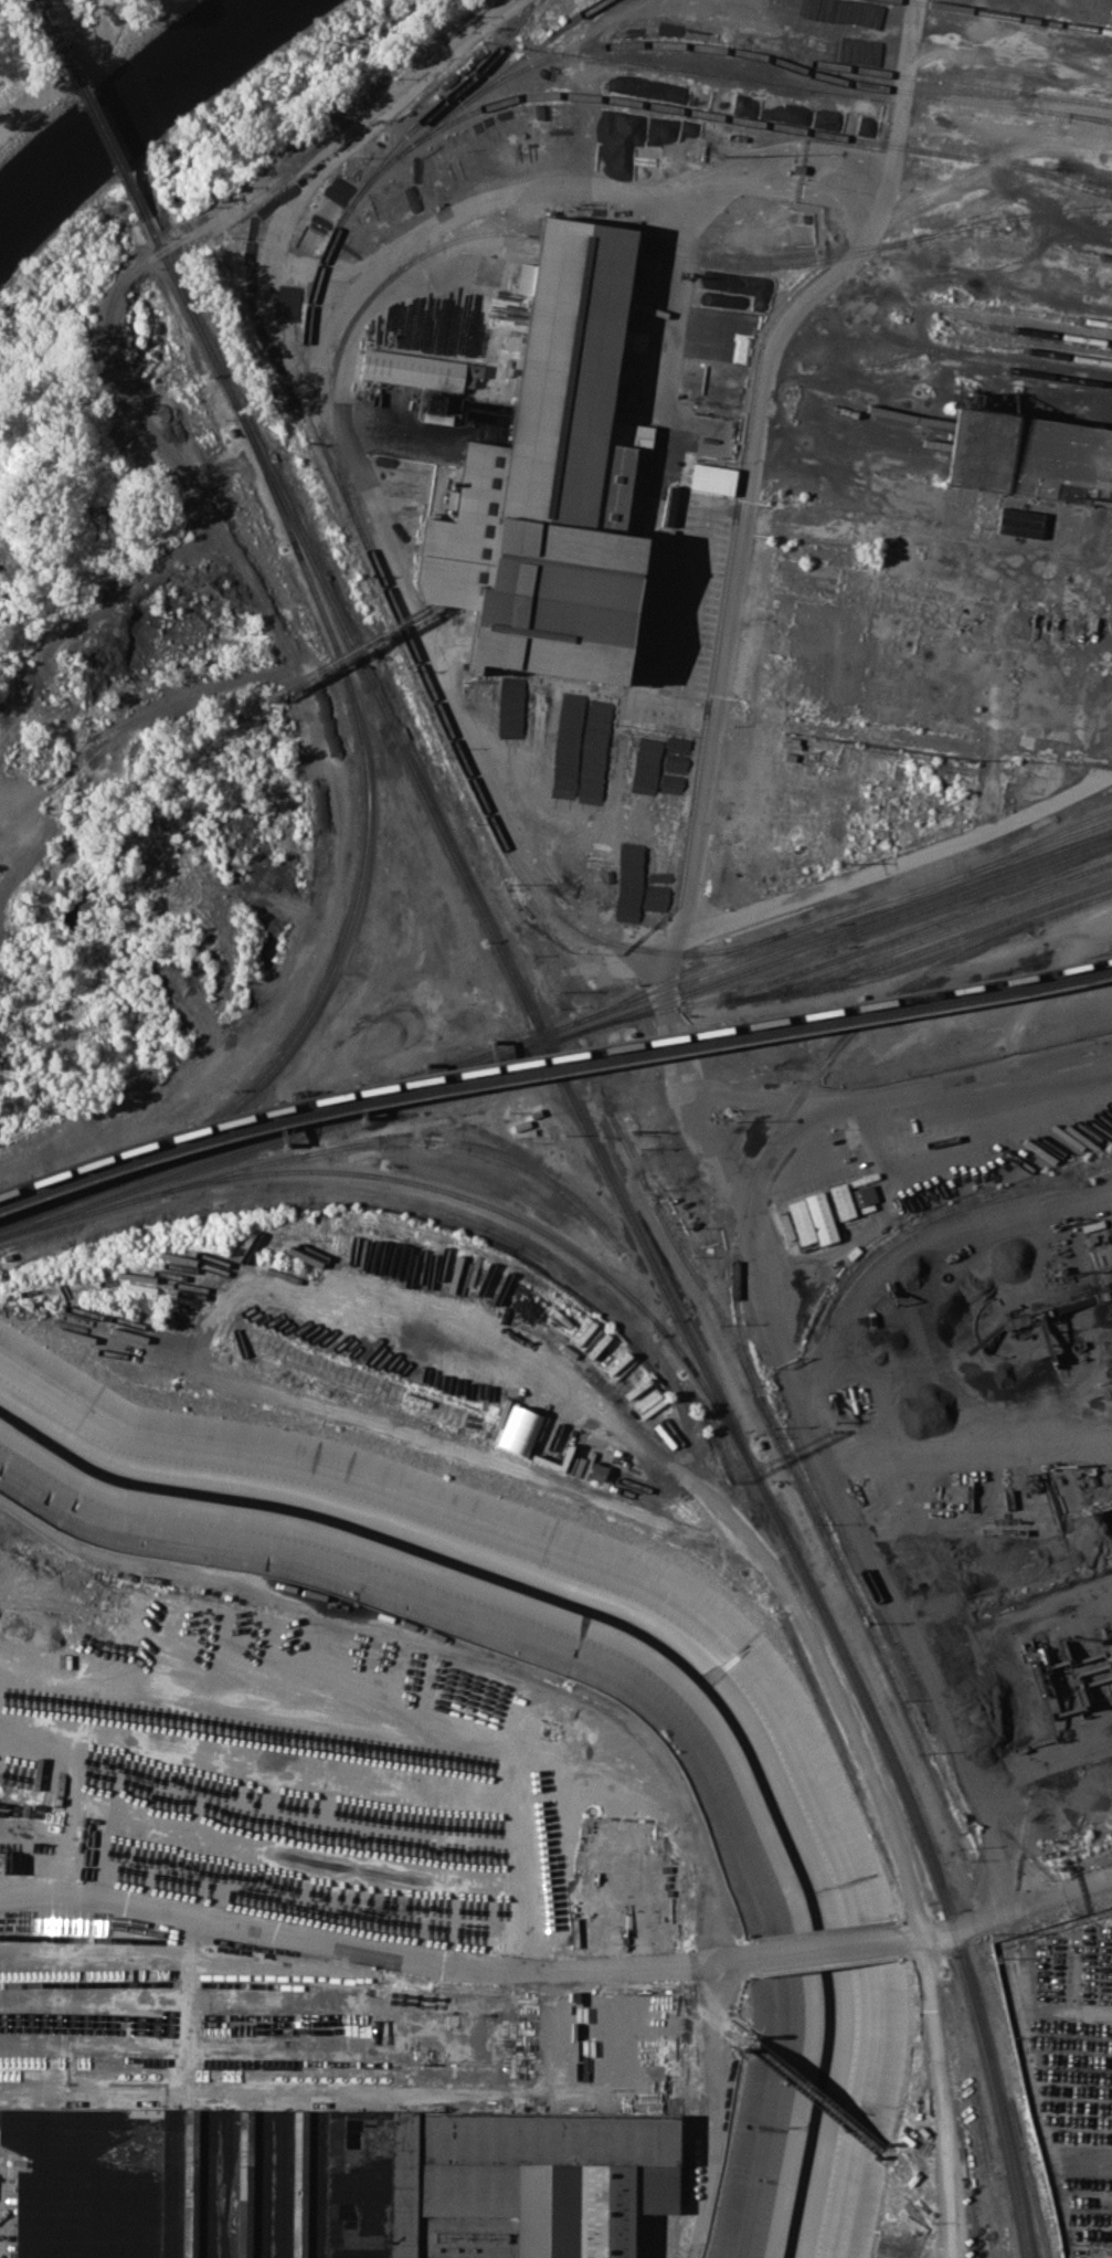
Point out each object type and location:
railway: (1010, 14)
railway: (50, 23)
railway: (534, 48)
railway: (723, 49)
road: (81, 67)
railway: (928, 93)
road: (395, 98)
river: (138, 110)
railway: (754, 122)
railway: (103, 133)
railway: (1063, 181)
road: (594, 187)
railway: (1015, 239)
railway: (873, 246)
railway: (758, 264)
road: (322, 267)
railway: (357, 314)
railway: (1048, 314)
railway: (1021, 319)
railway: (1026, 329)
railway: (1027, 339)
railway: (1028, 349)
railway: (993, 354)
railway: (957, 360)
building: (411, 369)
building: (470, 373)
railway: (875, 410)
railway: (875, 419)
railway: (873, 430)
railway: (869, 439)
building: (1029, 455)
road: (753, 457)
building: (712, 477)
building: (557, 488)
building: (968, 508)
building: (1019, 520)
road: (921, 535)
railway: (369, 551)
road: (691, 601)
road: (423, 634)
railway: (366, 658)
building: (484, 693)
railway: (1044, 838)
railway: (452, 851)
road: (922, 855)
railway: (362, 857)
building: (629, 910)
railway: (839, 912)
railway: (902, 936)
railway: (926, 937)
railway: (950, 940)
railway: (848, 981)
railway: (555, 1027)
railway: (555, 1037)
railway: (551, 1057)
railway: (551, 1069)
road: (899, 1090)
railway: (797, 1101)
railway: (394, 1141)
road: (769, 1182)
railway: (433, 1186)
building: (864, 1193)
building: (841, 1200)
building: (820, 1216)
building: (1103, 1265)
road: (920, 1267)
railway: (850, 1275)
railway: (783, 1438)
road: (1004, 1457)
road: (823, 1460)
road: (859, 1460)
building: (596, 1471)
railway: (719, 1477)
river: (642, 1636)
railway: (486, 1661)
railway: (926, 1859)
road: (1069, 1890)
road: (10, 1897)
road: (963, 1923)
road: (824, 1945)
road: (372, 1953)
railway: (420, 2011)
railway: (1025, 2013)
railway: (974, 2086)
road: (939, 2095)
railway: (818, 2096)
railway: (1029, 2180)
building: (336, 2183)
railway: (929, 2199)

